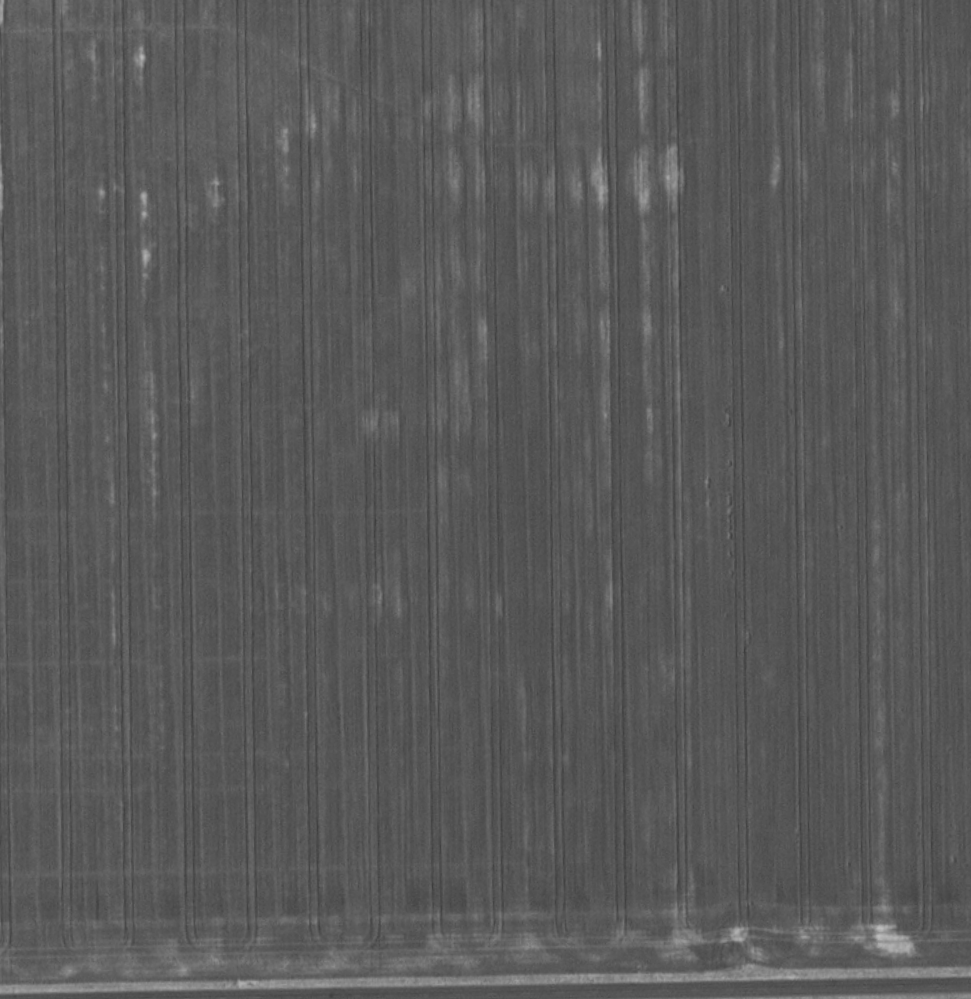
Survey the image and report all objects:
crop: (484, 487)
road: (642, 993)

